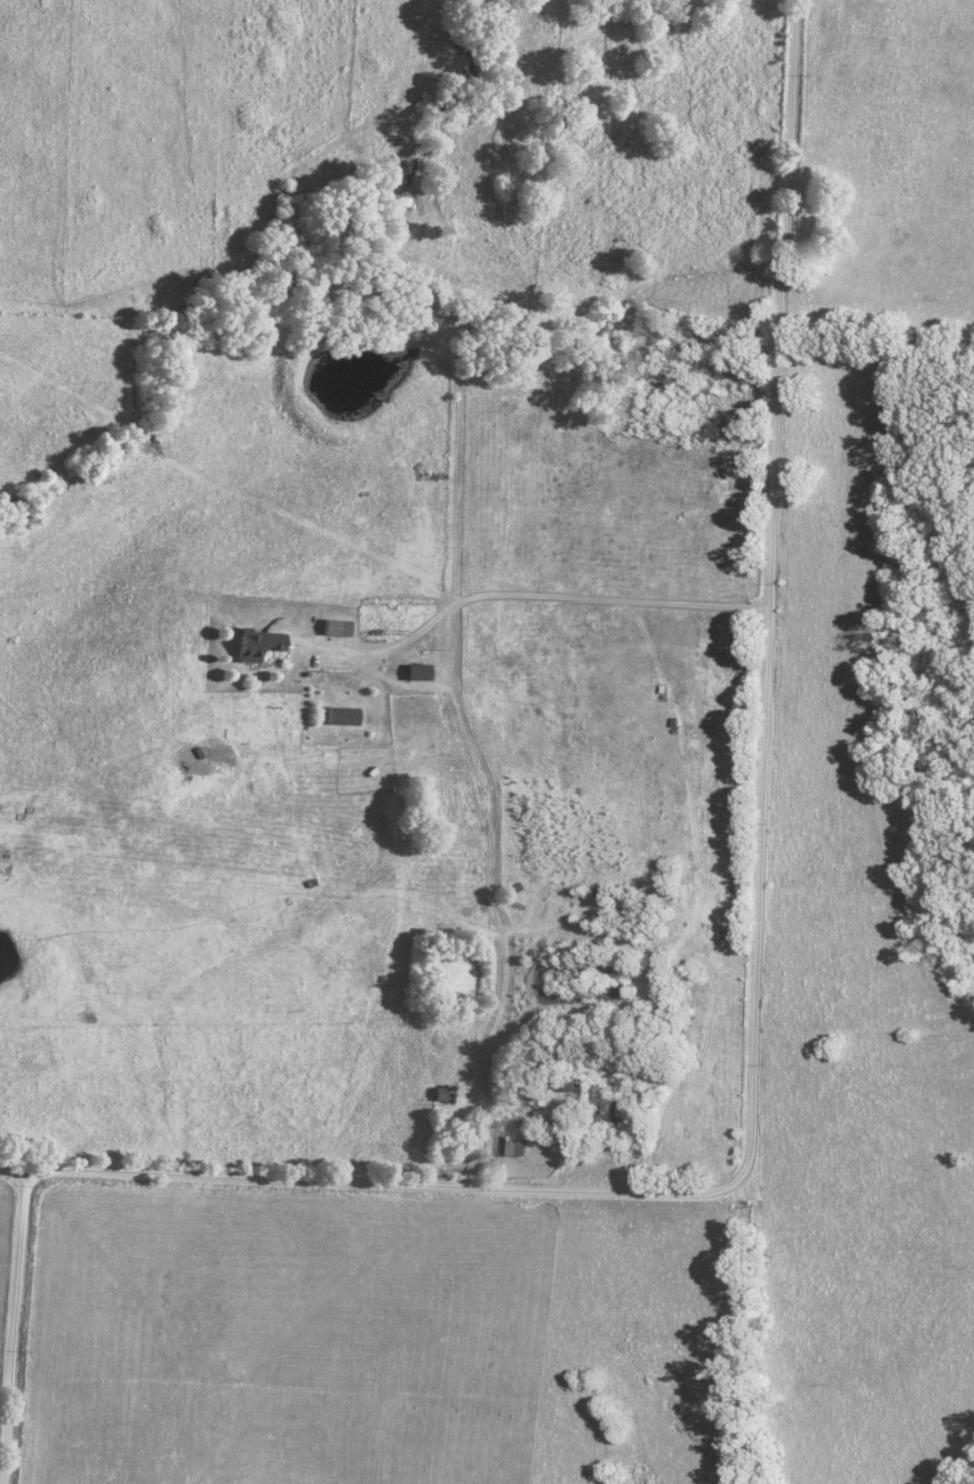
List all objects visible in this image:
road: (531, 602)
building: (339, 628)
building: (261, 645)
building: (422, 673)
road: (755, 959)
building: (590, 965)
building: (591, 992)
building: (441, 1095)
building: (610, 1101)
building: (516, 1146)
road: (456, 1166)
road: (10, 1326)

